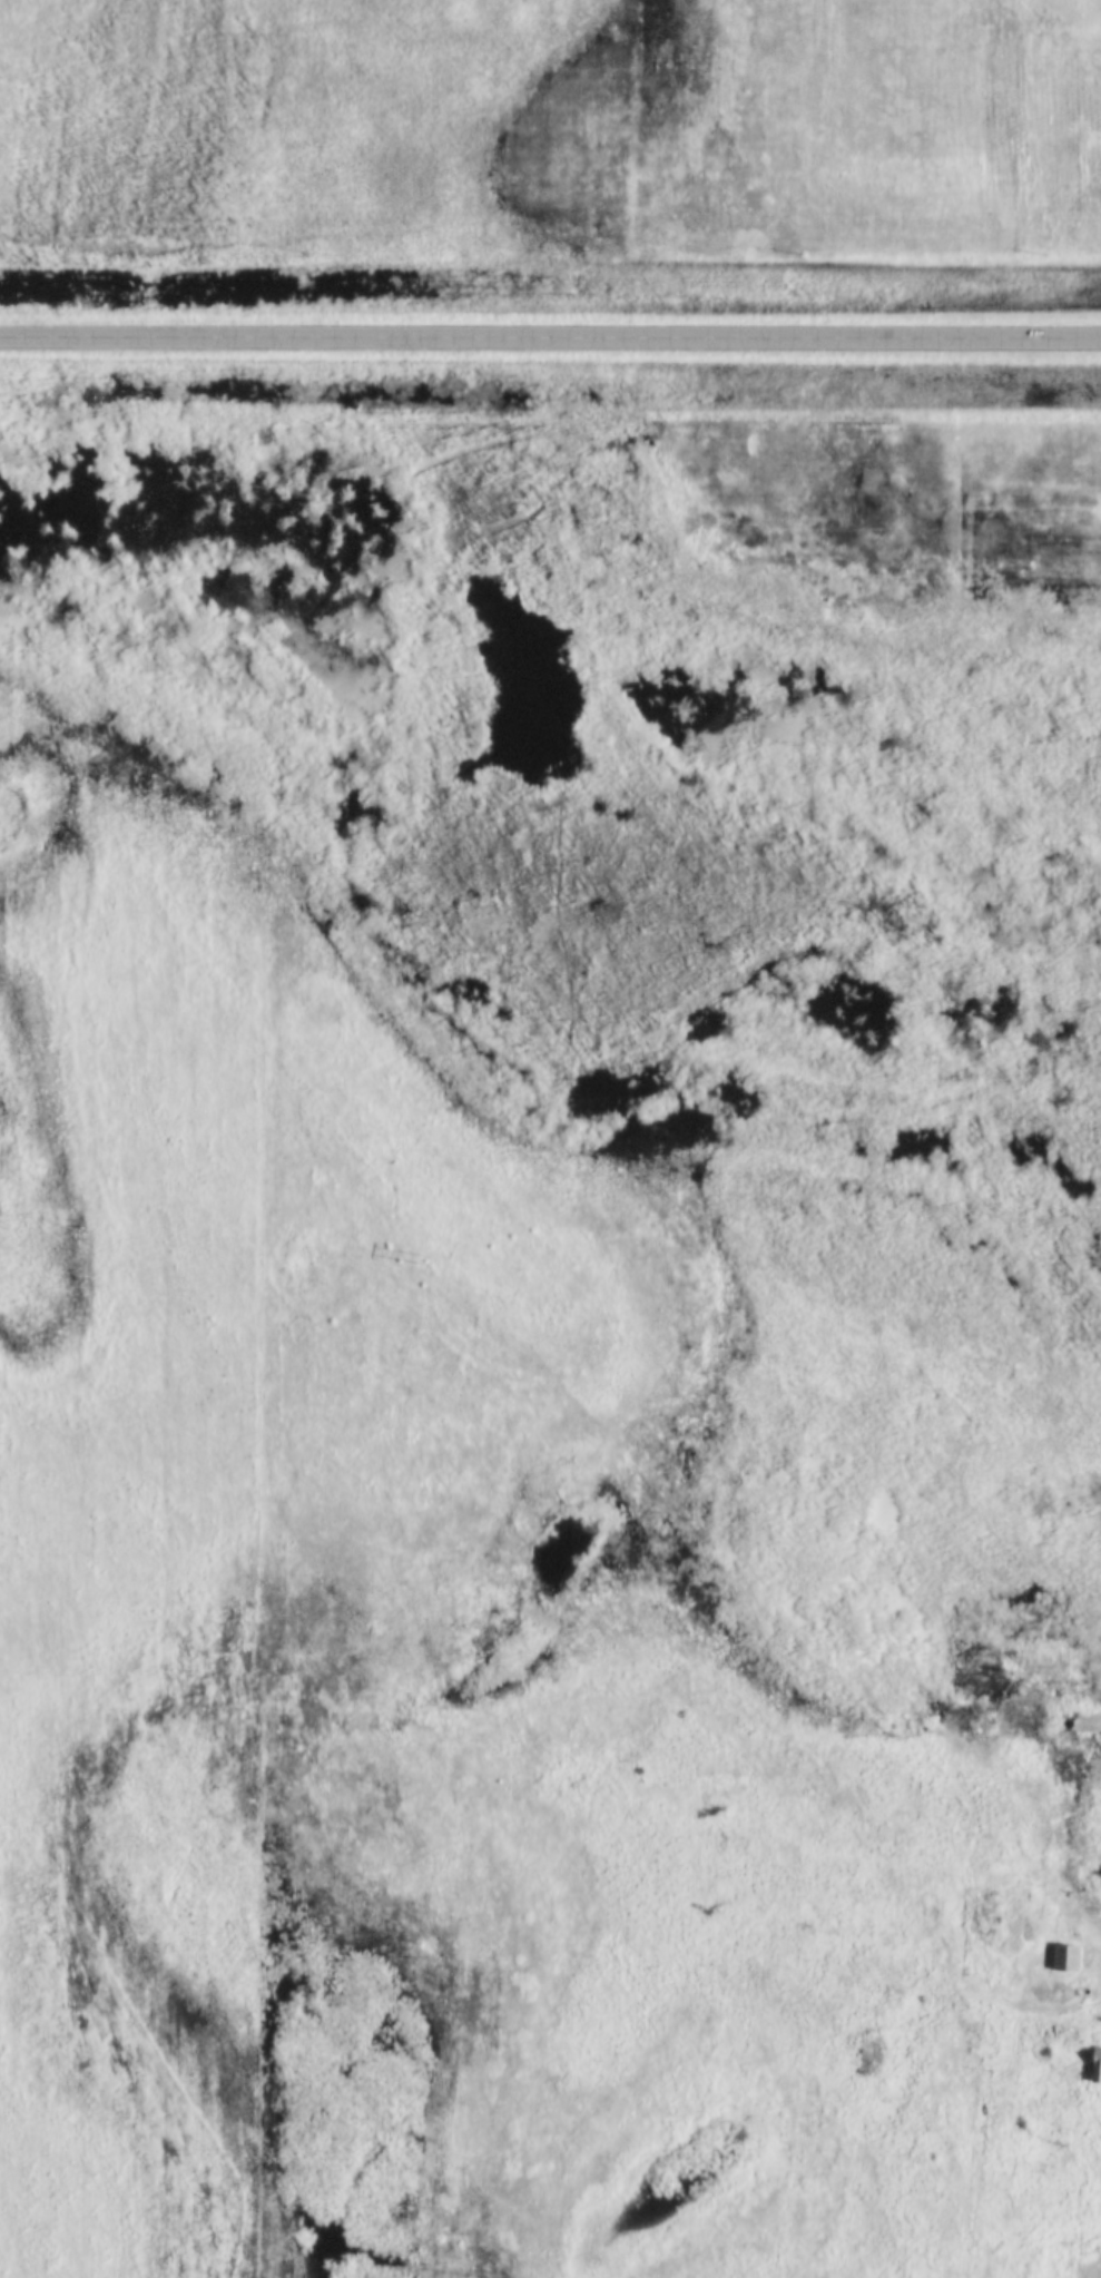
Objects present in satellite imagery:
road: (550, 336)
power tower: (422, 1260)
power tower: (1011, 1371)
building: (1085, 1726)
building: (1068, 1962)
road: (1040, 2013)
building: (866, 2051)
building: (1099, 2066)

